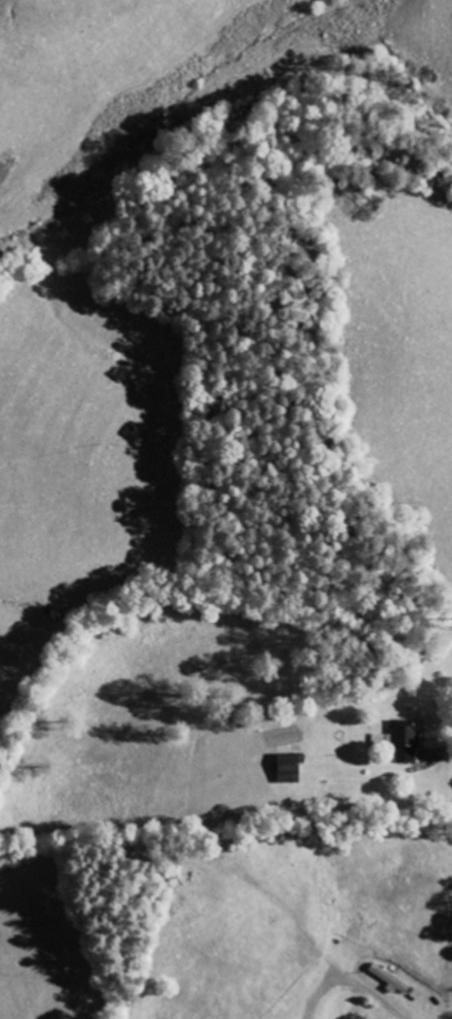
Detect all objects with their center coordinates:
building: (407, 739)
building: (291, 768)
building: (391, 979)

